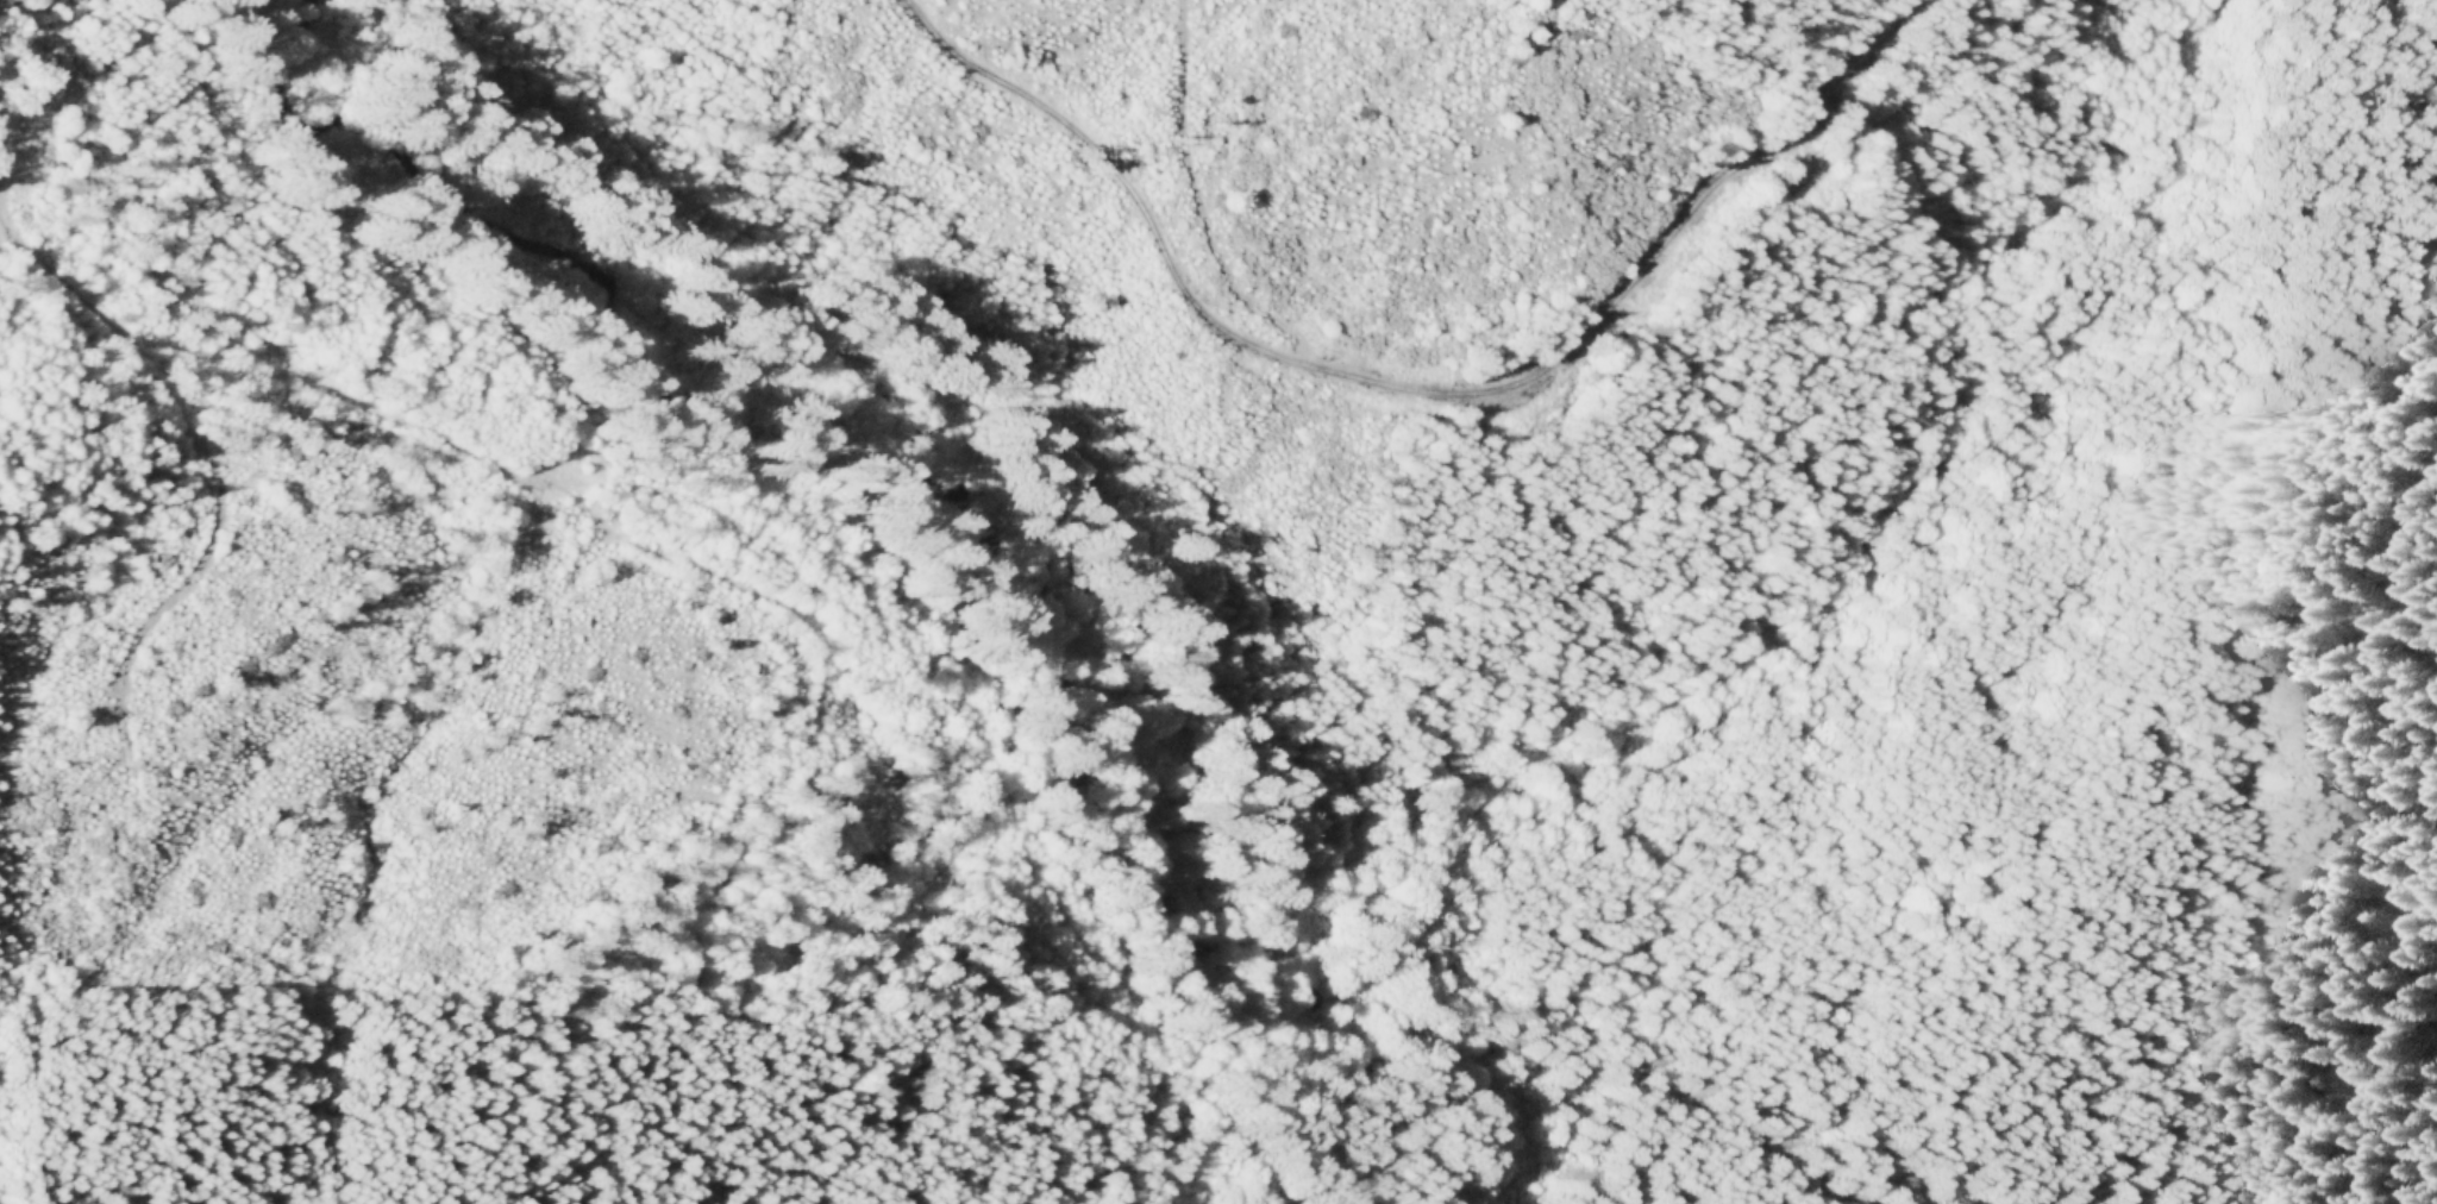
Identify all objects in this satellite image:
road: (1196, 200)
road: (1412, 389)
road: (180, 419)
road: (477, 458)
road: (2411, 558)

